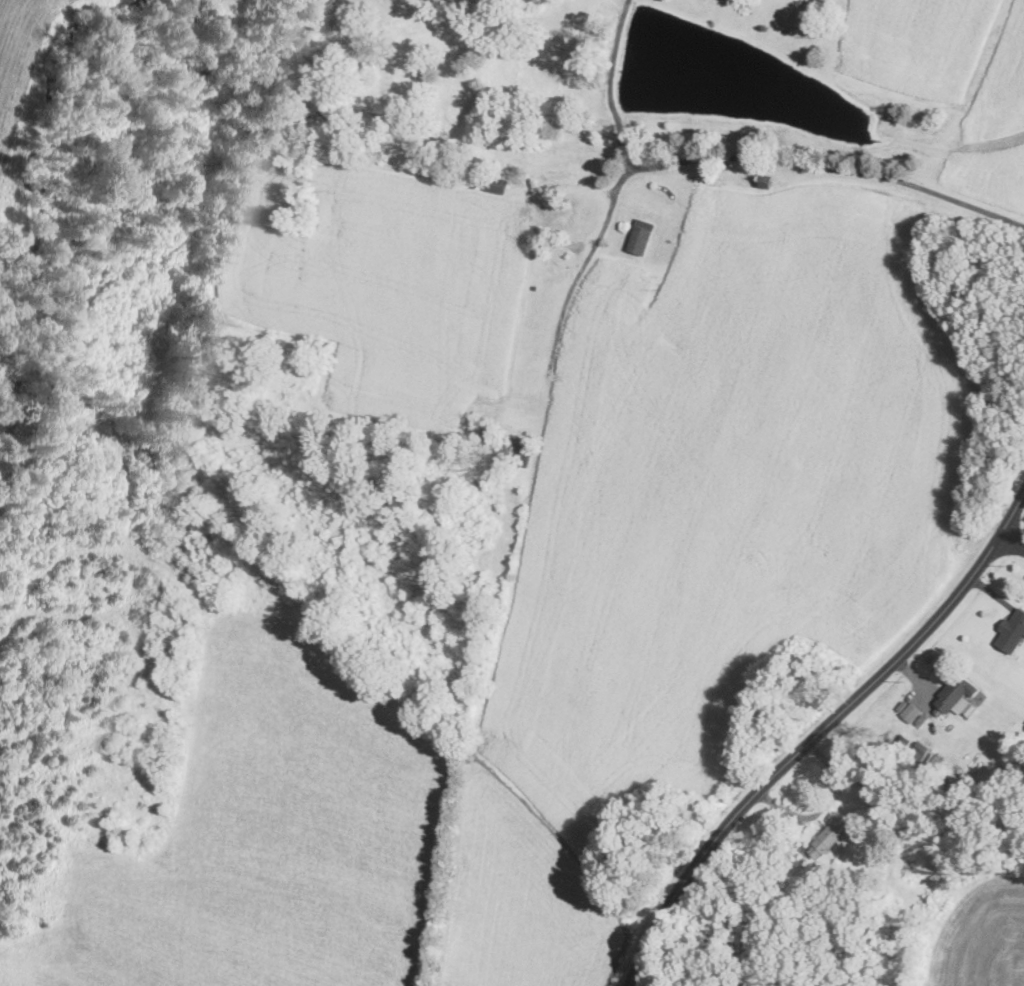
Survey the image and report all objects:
road: (608, 86)
building: (608, 131)
building: (537, 156)
road: (815, 169)
building: (496, 184)
building: (640, 237)
road: (569, 293)
building: (521, 456)
building: (581, 461)
road: (1012, 548)
building: (1011, 633)
building: (956, 695)
road: (814, 733)
building: (826, 837)

